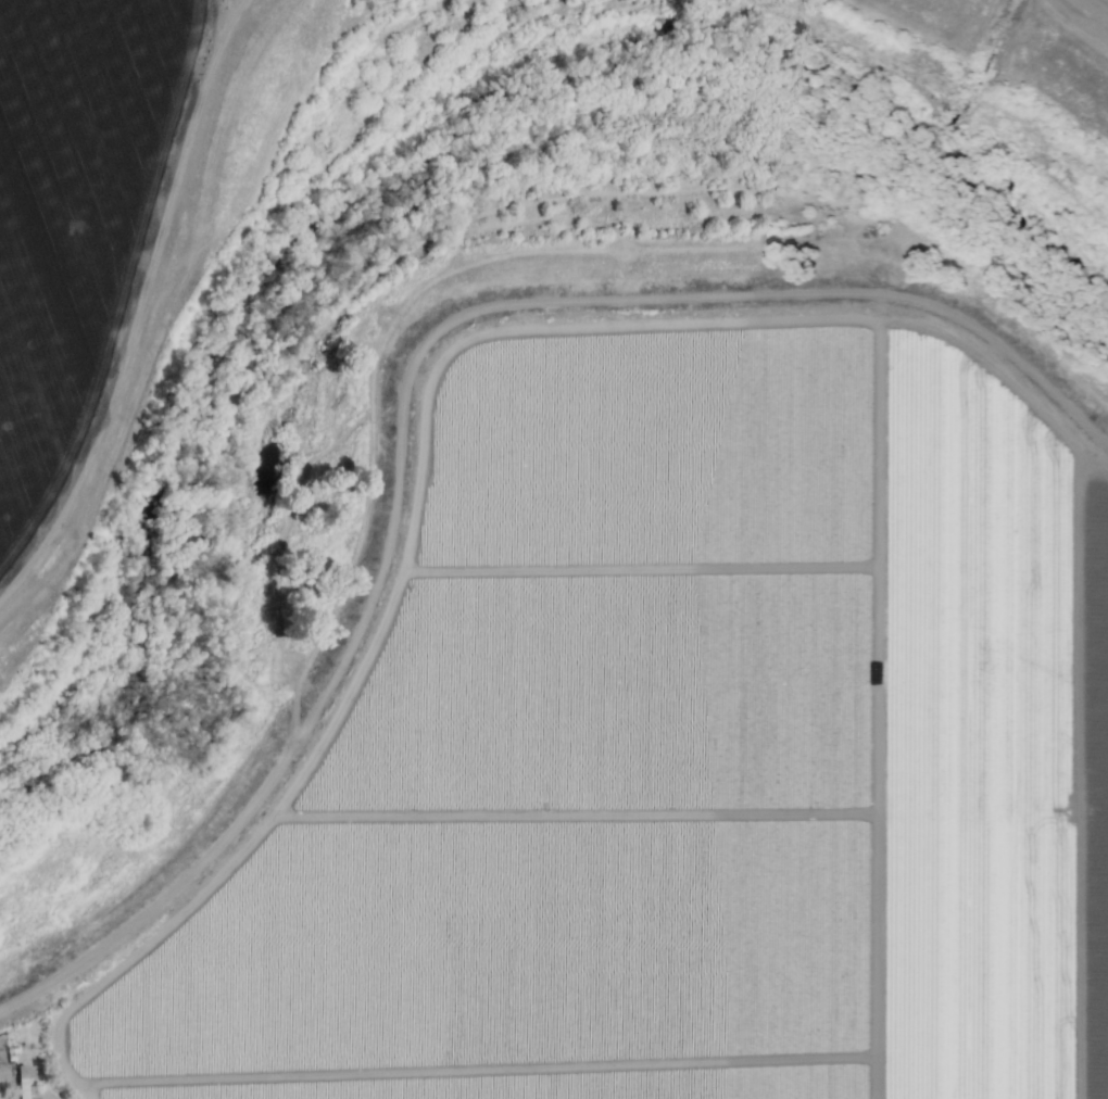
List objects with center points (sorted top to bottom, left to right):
crop: (112, 255)
river: (265, 262)
river: (981, 274)
crop: (676, 754)
building: (23, 1083)

